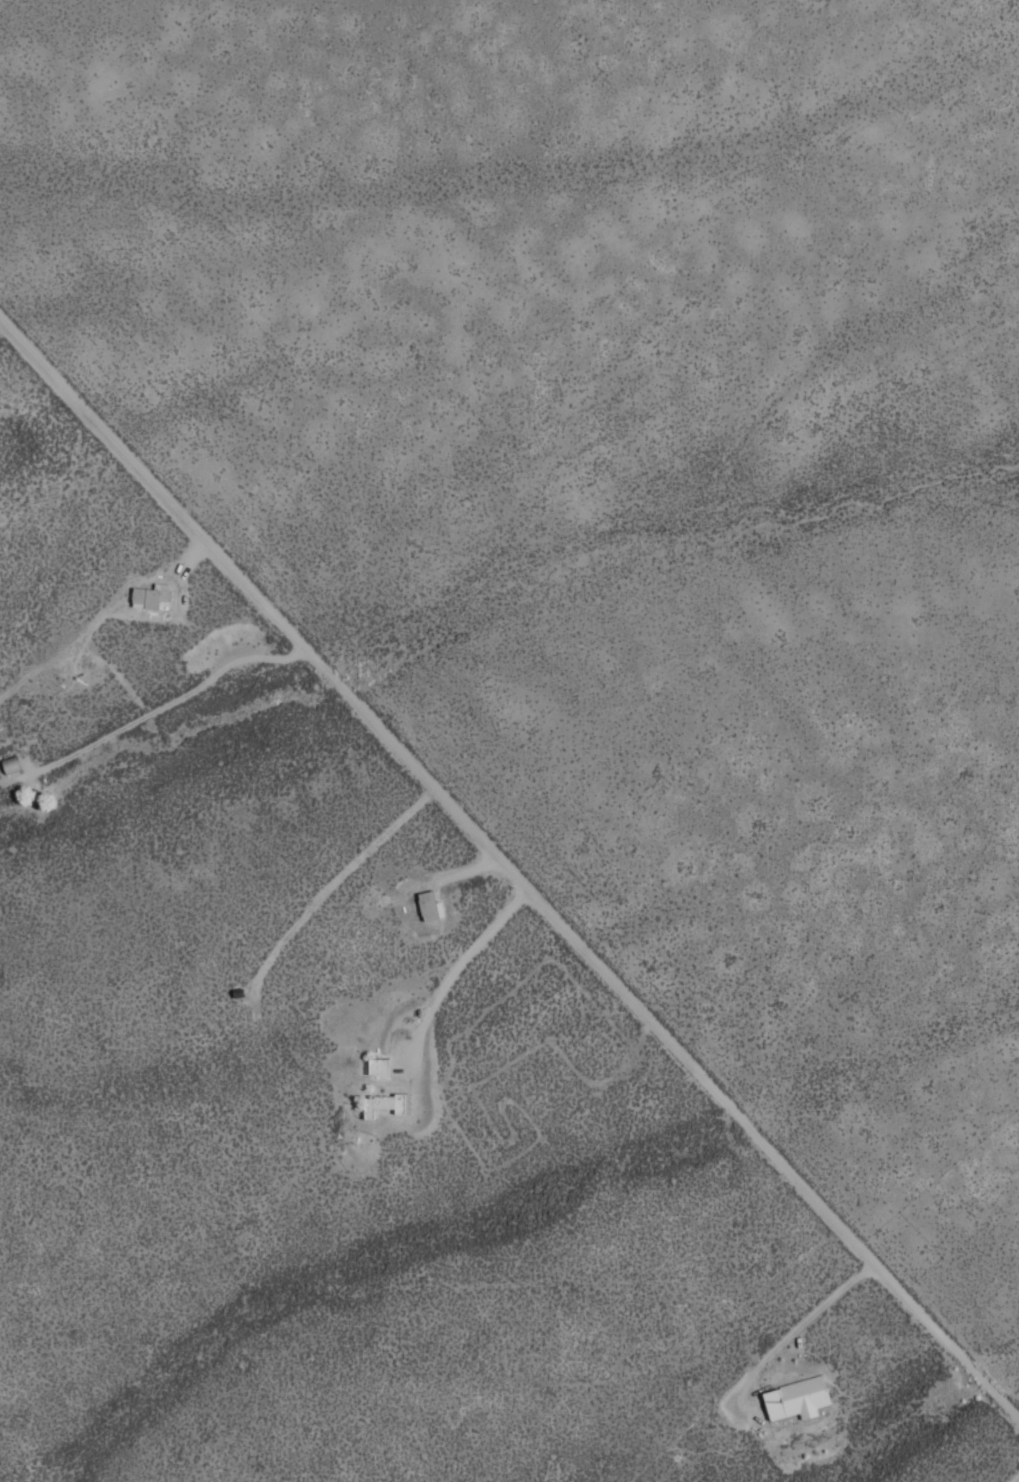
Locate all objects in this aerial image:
road: (262, 608)
road: (239, 675)
road: (772, 1157)

